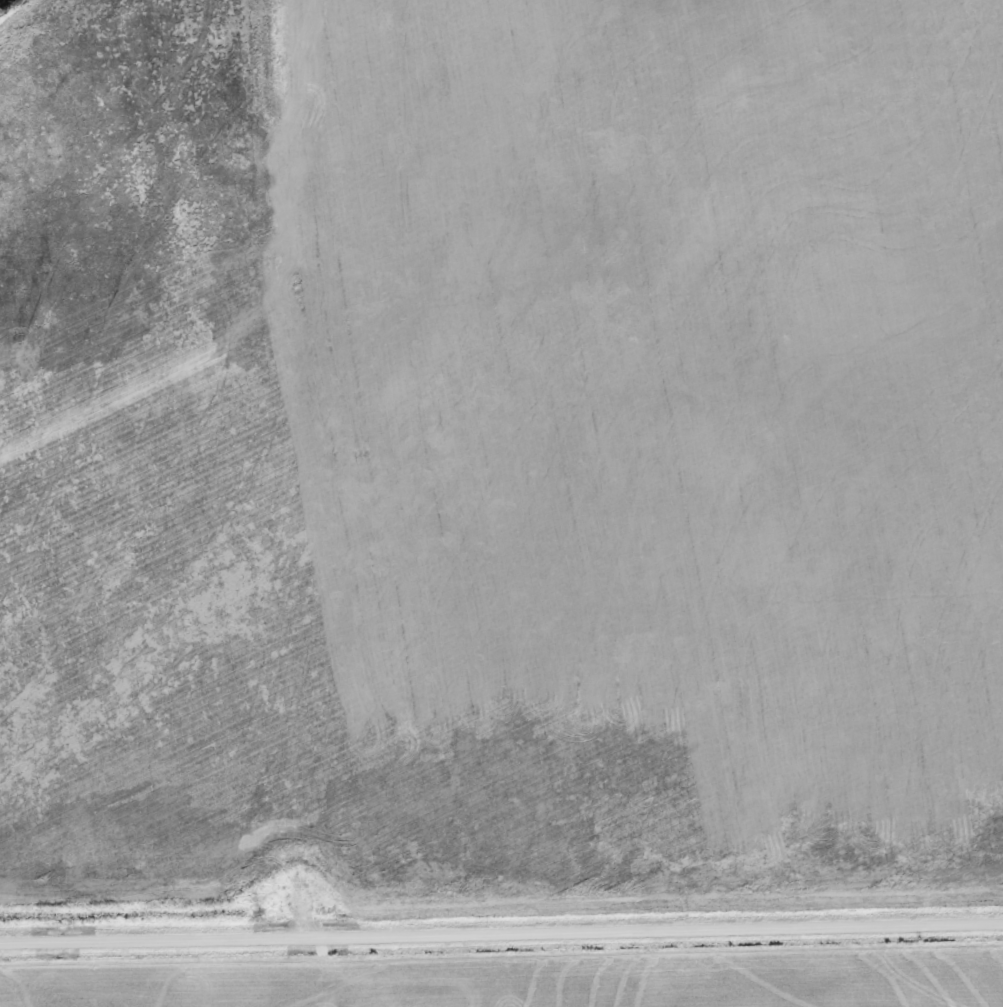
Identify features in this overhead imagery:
road: (501, 932)

